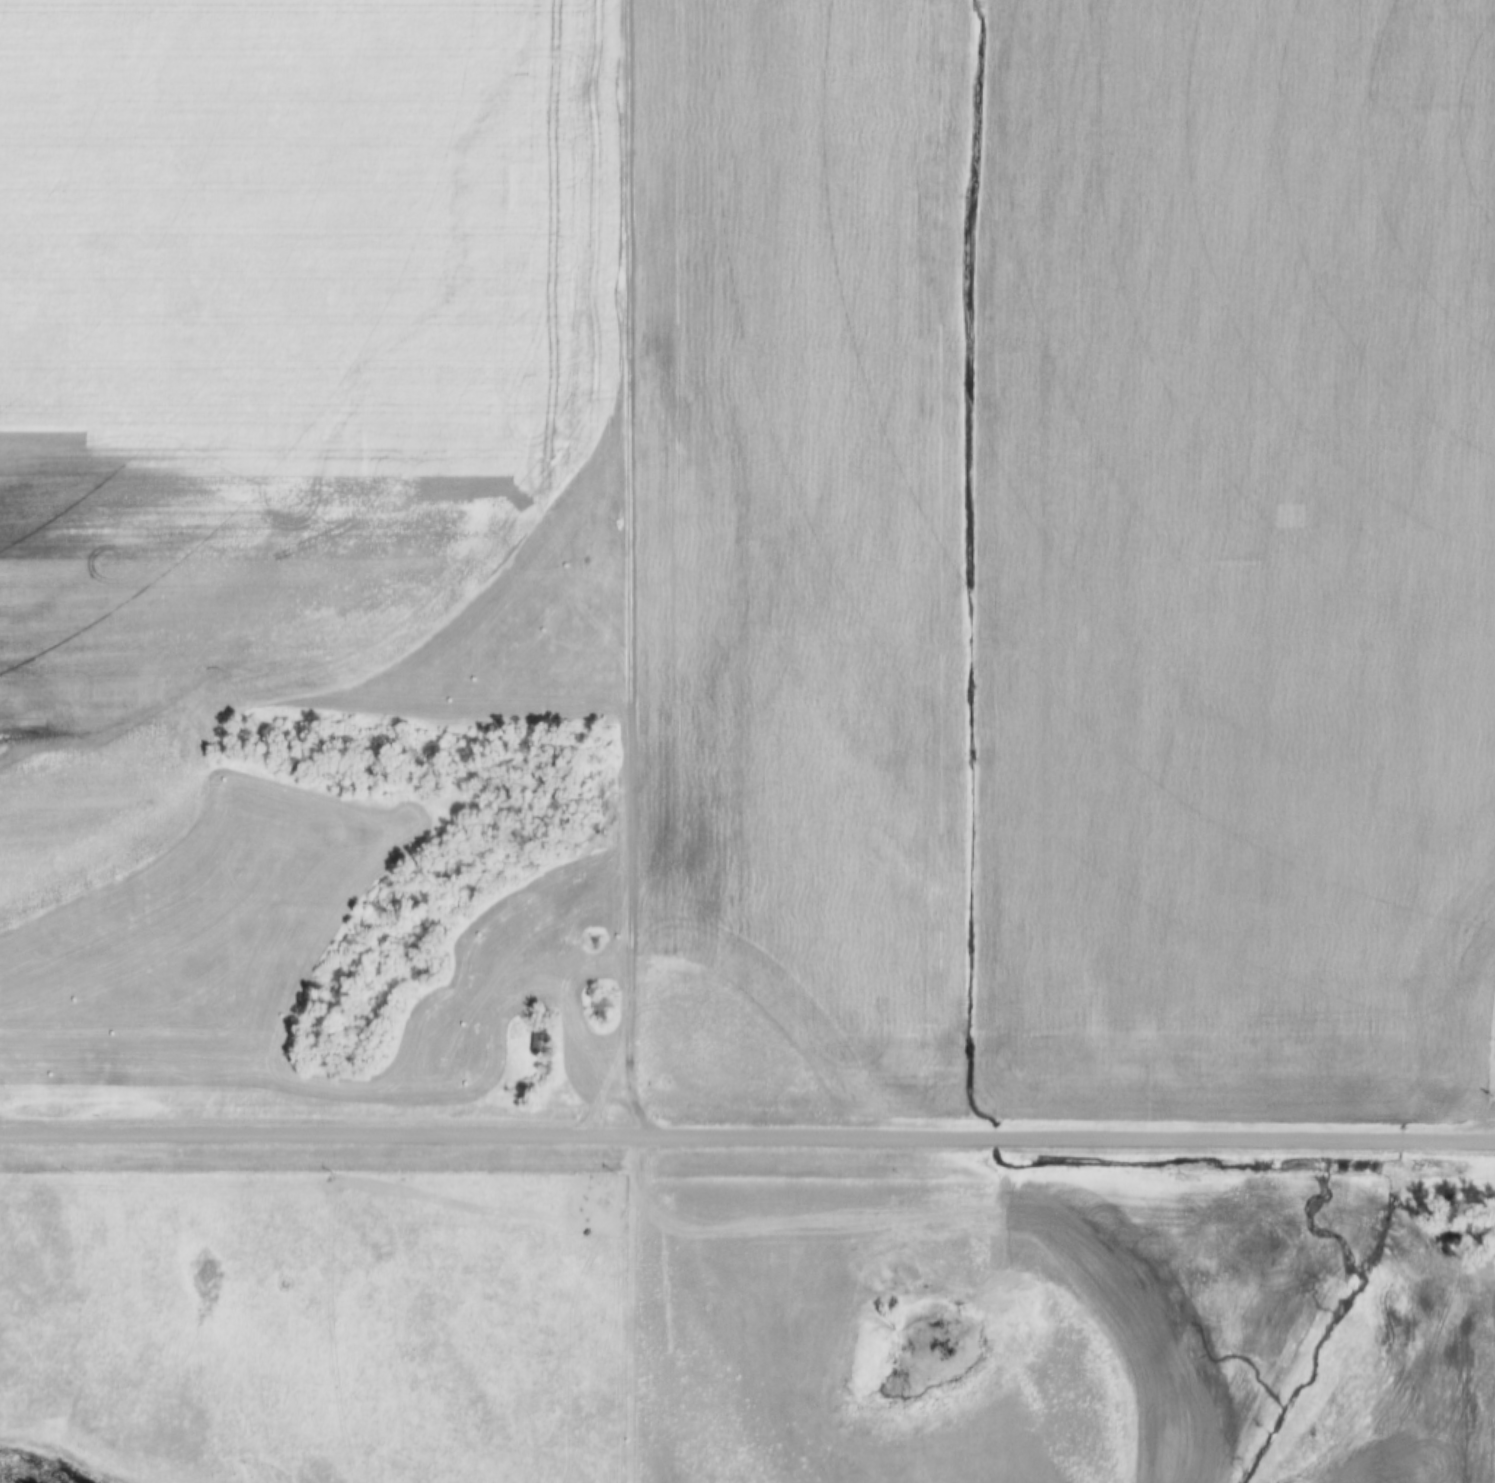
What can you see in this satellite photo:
road: (632, 567)
building: (541, 1045)
road: (747, 1136)

